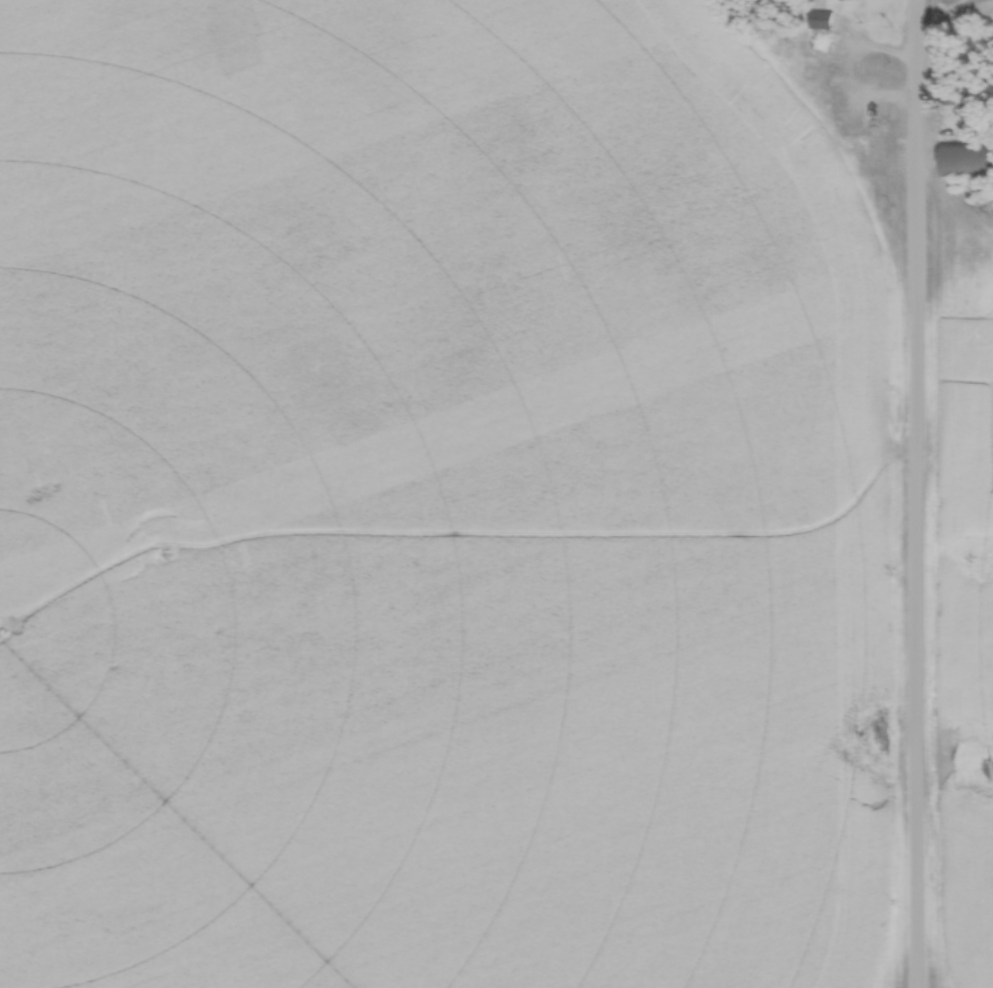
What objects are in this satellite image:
building: (819, 21)
building: (944, 99)
building: (972, 117)
building: (965, 160)
road: (916, 494)

